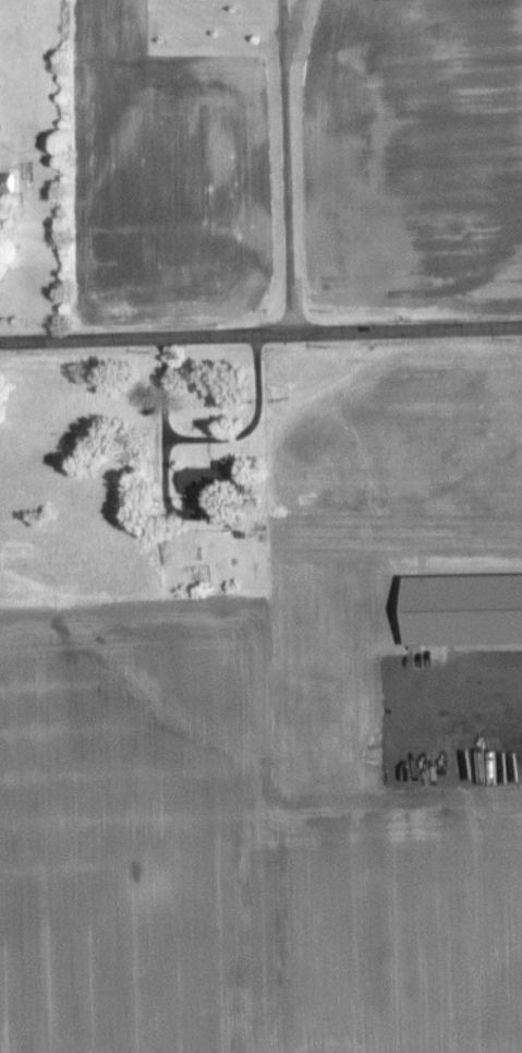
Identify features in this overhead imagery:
road: (279, 24)
road: (289, 24)
building: (8, 183)
road: (286, 190)
road: (260, 332)
road: (208, 433)
building: (216, 480)
building: (468, 611)
road: (470, 683)

